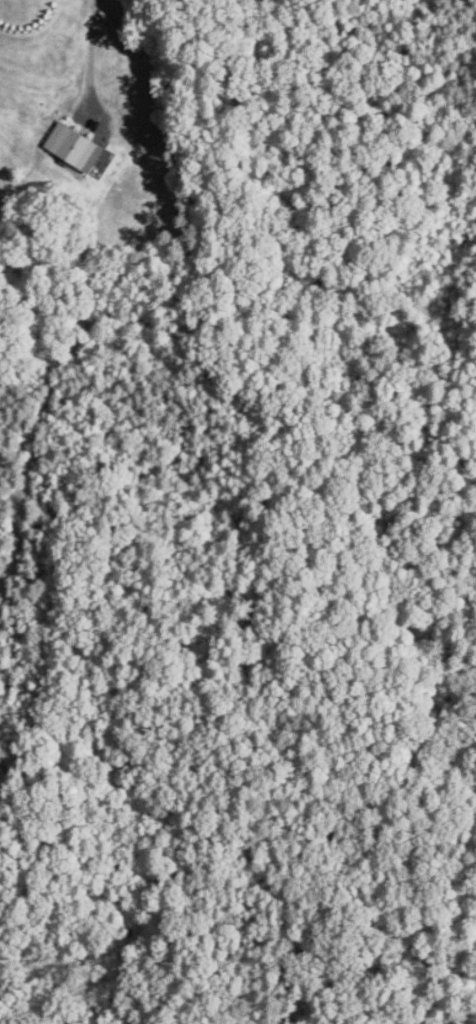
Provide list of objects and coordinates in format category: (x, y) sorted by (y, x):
road: (96, 54)
building: (78, 150)

